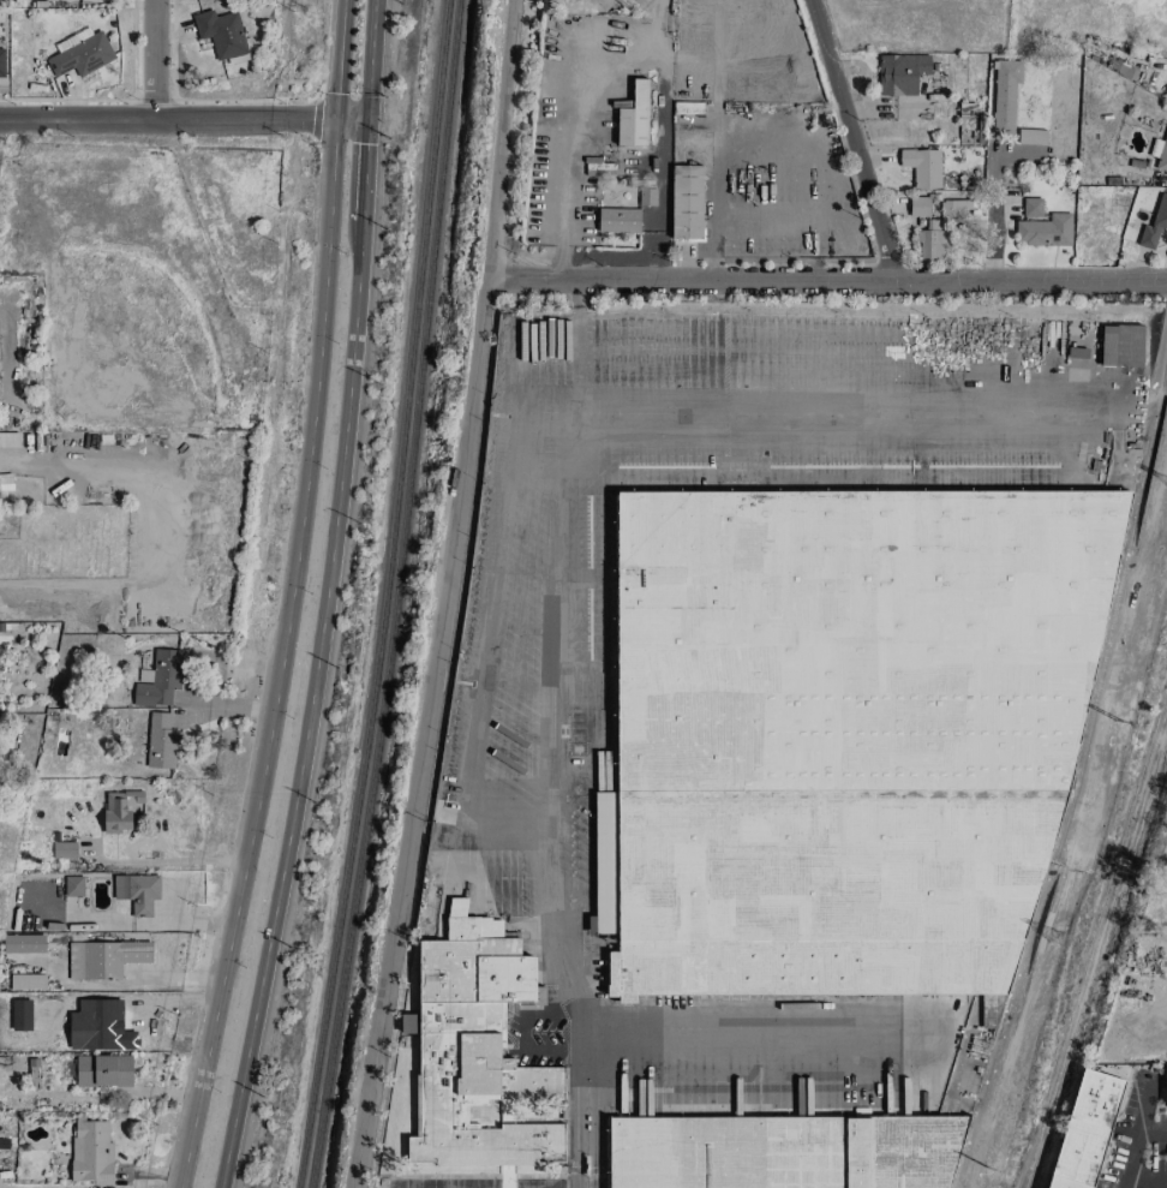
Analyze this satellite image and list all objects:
building: (221, 34)
building: (80, 53)
road: (369, 58)
road: (155, 60)
building: (1, 62)
building: (900, 74)
building: (1005, 95)
traffic signals: (365, 117)
building: (633, 117)
traffic signals: (336, 118)
road: (182, 119)
building: (692, 135)
building: (1031, 137)
road: (852, 139)
building: (1160, 153)
building: (922, 167)
road: (363, 168)
road: (563, 179)
building: (646, 197)
road: (995, 201)
building: (686, 203)
building: (918, 207)
building: (1031, 208)
building: (954, 209)
road: (711, 215)
building: (618, 221)
building: (1154, 225)
building: (1045, 232)
building: (930, 241)
road: (826, 280)
road: (574, 299)
road: (1166, 318)
building: (1120, 346)
road: (577, 363)
road: (1150, 384)
building: (10, 440)
building: (5, 484)
road: (563, 542)
road: (77, 584)
railway: (389, 595)
railway: (401, 595)
road: (441, 595)
road: (291, 598)
building: (158, 680)
road: (310, 706)
road: (228, 709)
building: (816, 724)
building: (160, 741)
building: (119, 811)
building: (64, 850)
road: (180, 861)
building: (73, 886)
building: (137, 893)
building: (23, 944)
railway: (1094, 948)
building: (103, 959)
building: (28, 981)
building: (474, 1052)
building: (103, 1070)
building: (1166, 1086)
building: (1084, 1130)
road: (1133, 1145)
building: (91, 1152)
building: (774, 1152)

